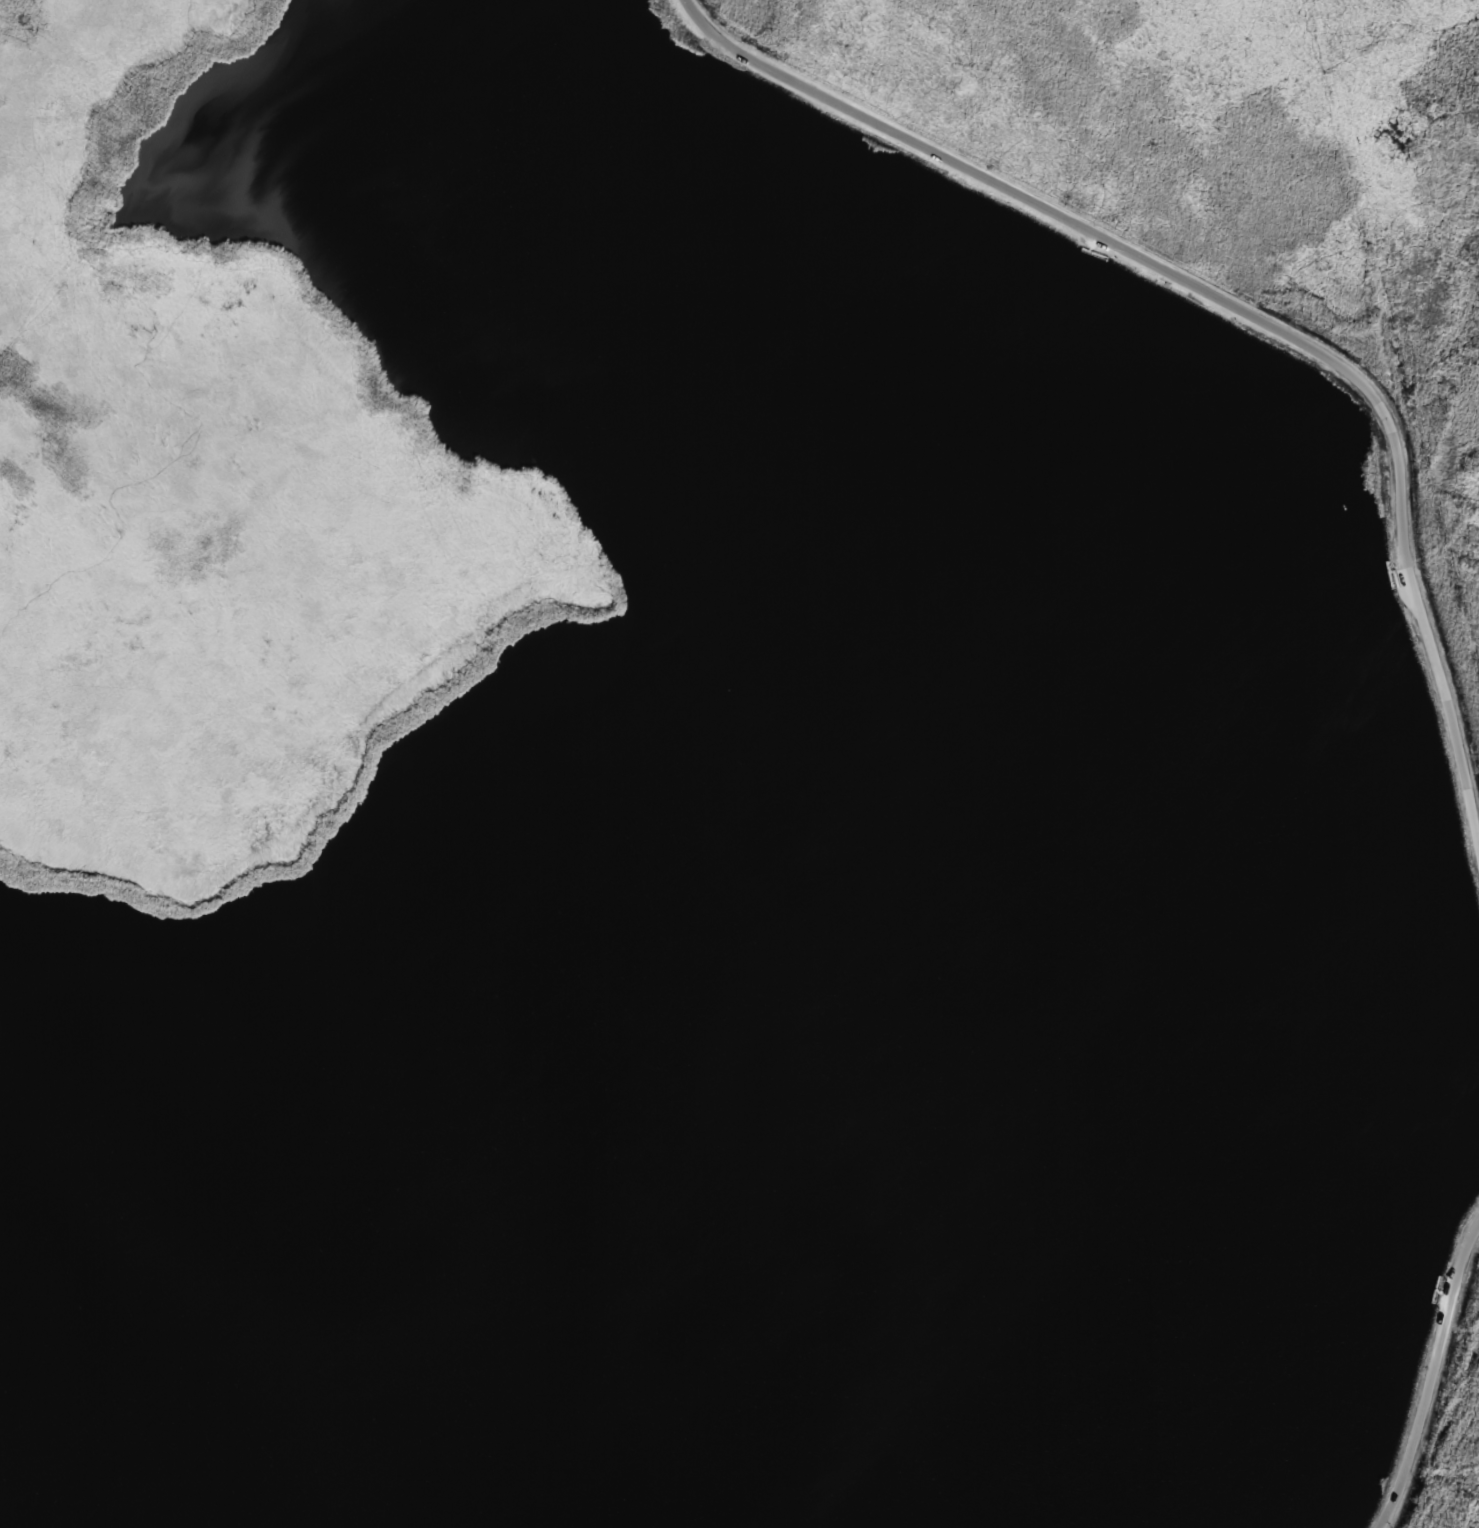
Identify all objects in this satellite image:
road: (1229, 296)
road: (1434, 1373)

